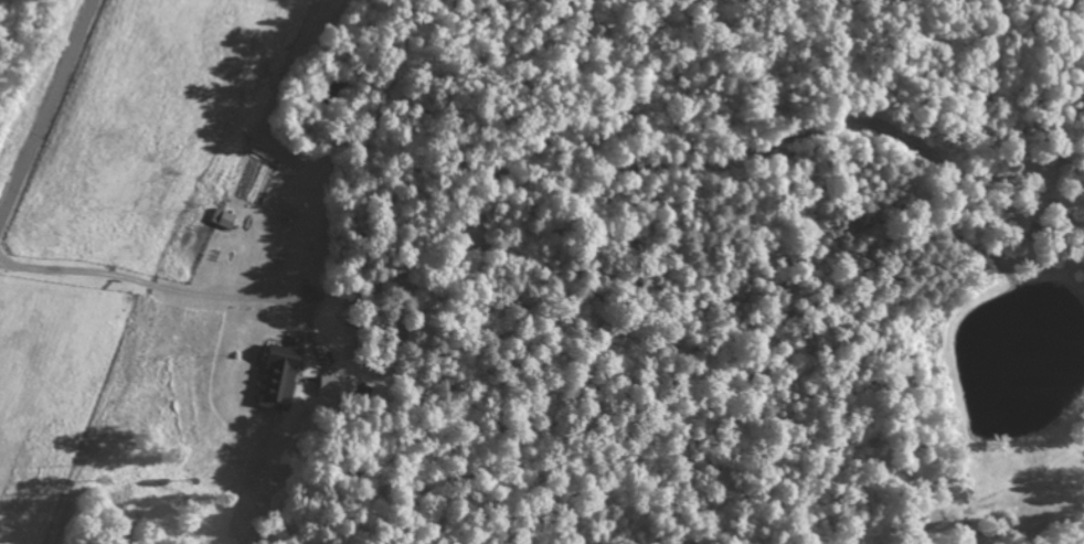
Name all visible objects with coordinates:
road: (49, 113)
building: (223, 218)
road: (306, 288)
building: (276, 378)
building: (333, 387)

